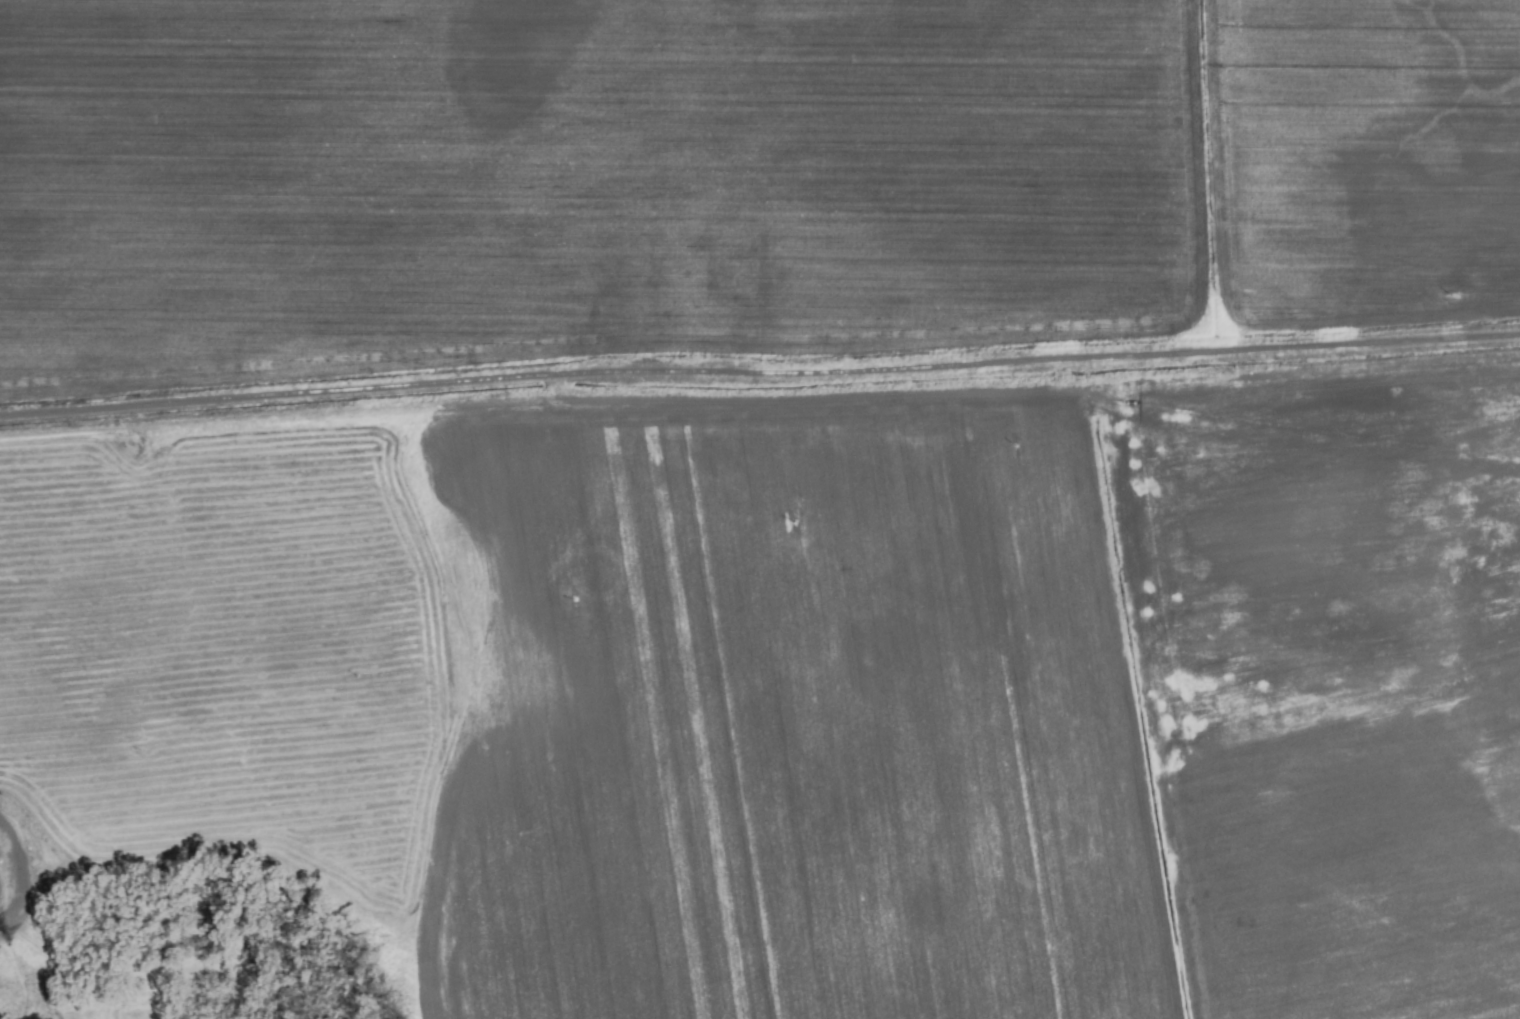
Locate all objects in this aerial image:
road: (759, 373)
crop: (760, 509)

